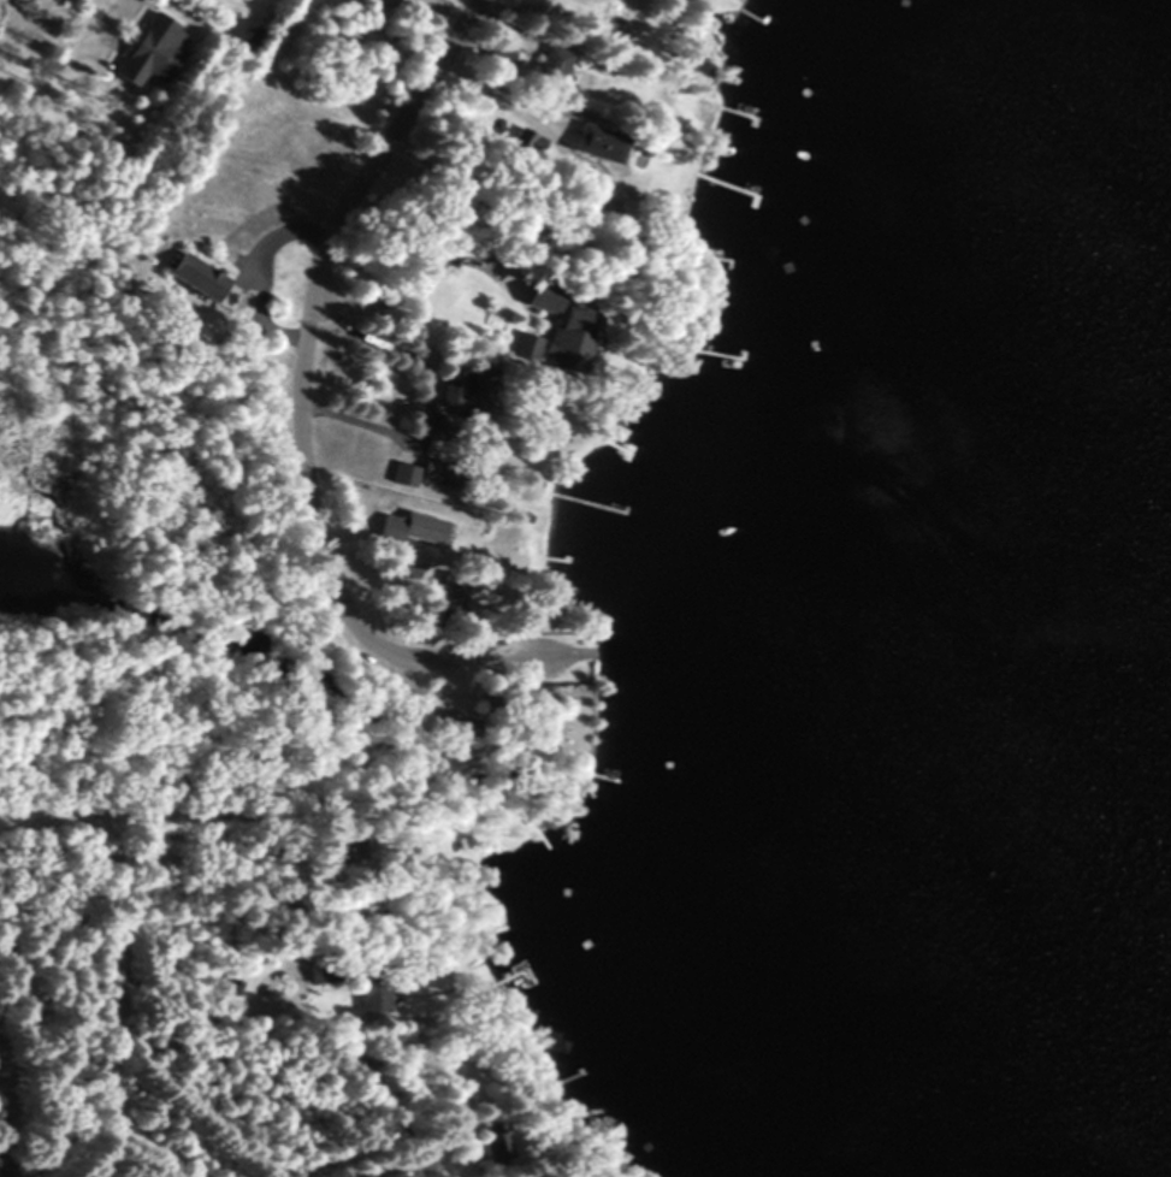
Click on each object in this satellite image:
road: (90, 23)
building: (239, 36)
building: (147, 52)
building: (593, 144)
building: (188, 278)
road: (409, 292)
building: (537, 298)
building: (563, 339)
building: (522, 348)
building: (462, 392)
road: (297, 412)
building: (433, 473)
building: (401, 475)
building: (416, 525)
building: (439, 596)
road: (558, 696)
road: (146, 802)
building: (319, 971)
road: (110, 988)
building: (367, 990)
road: (239, 1012)
building: (487, 1140)
road: (104, 1142)

